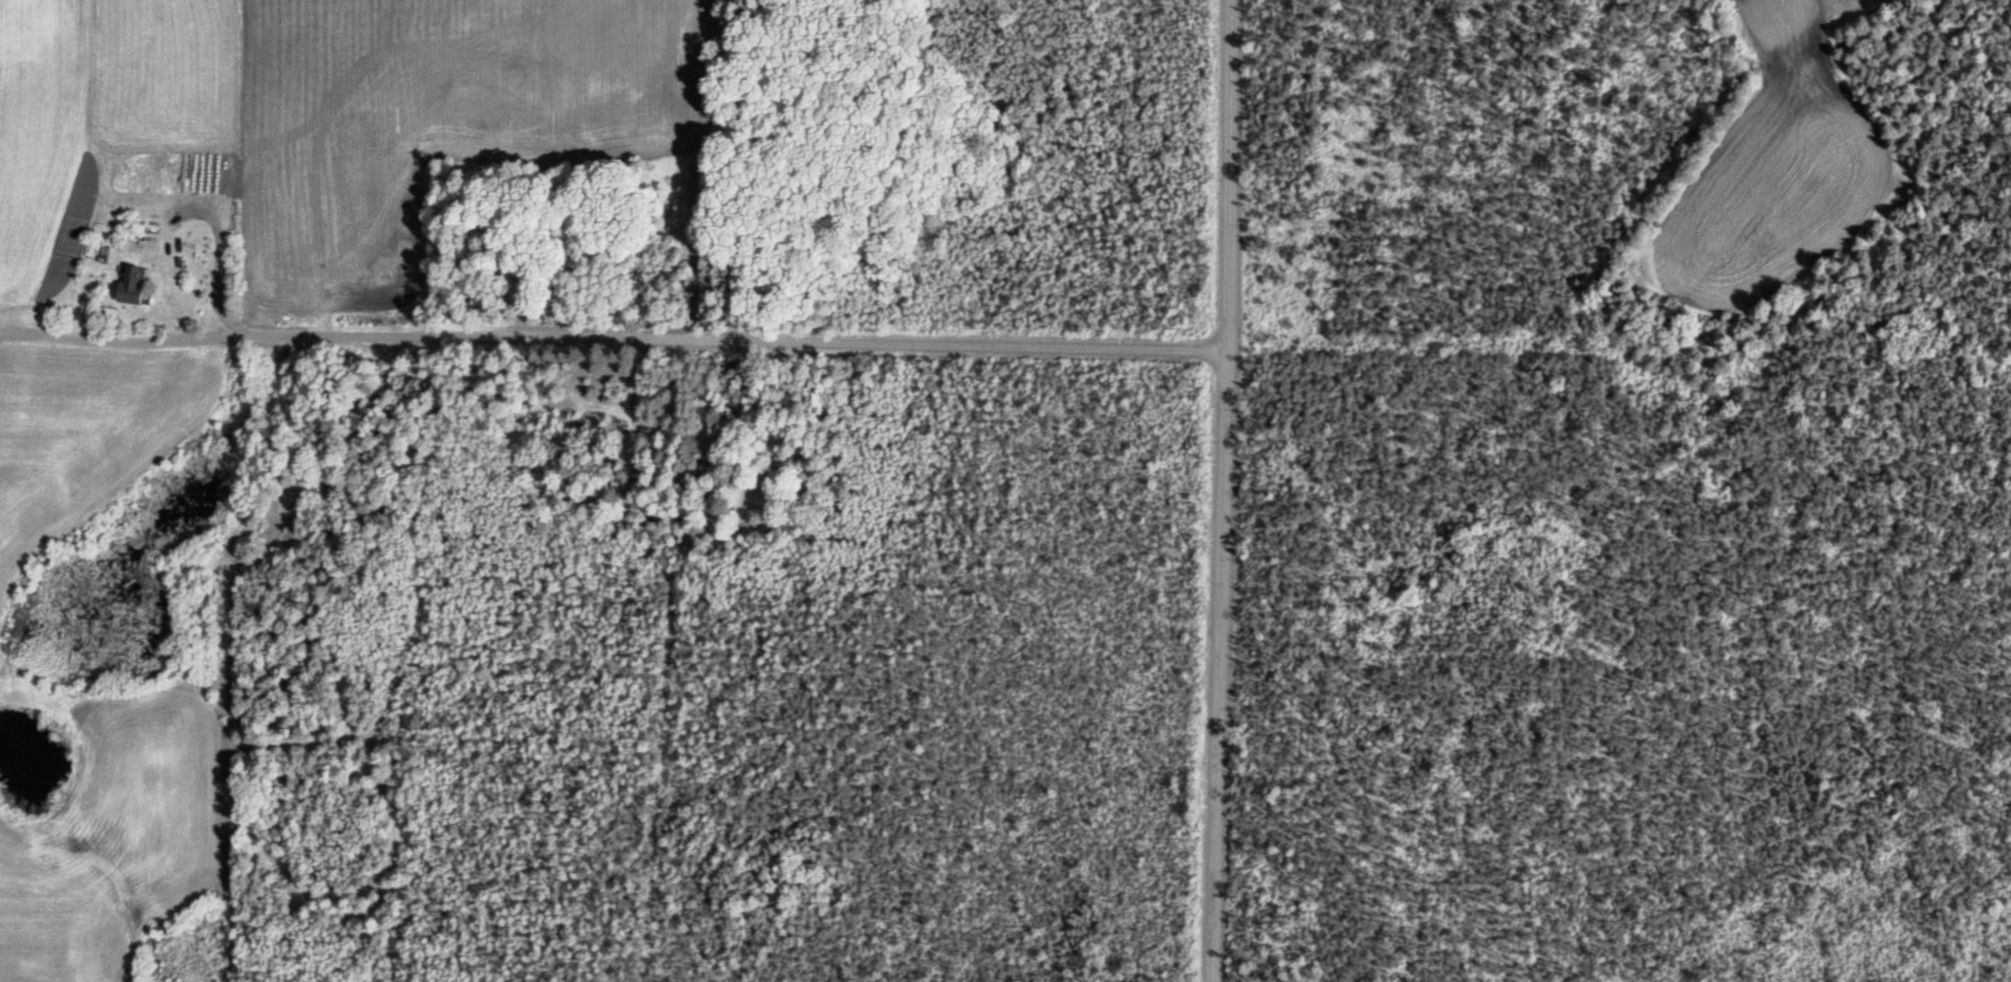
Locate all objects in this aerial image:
building: (153, 179)
building: (131, 281)
road: (615, 339)
road: (1227, 491)

